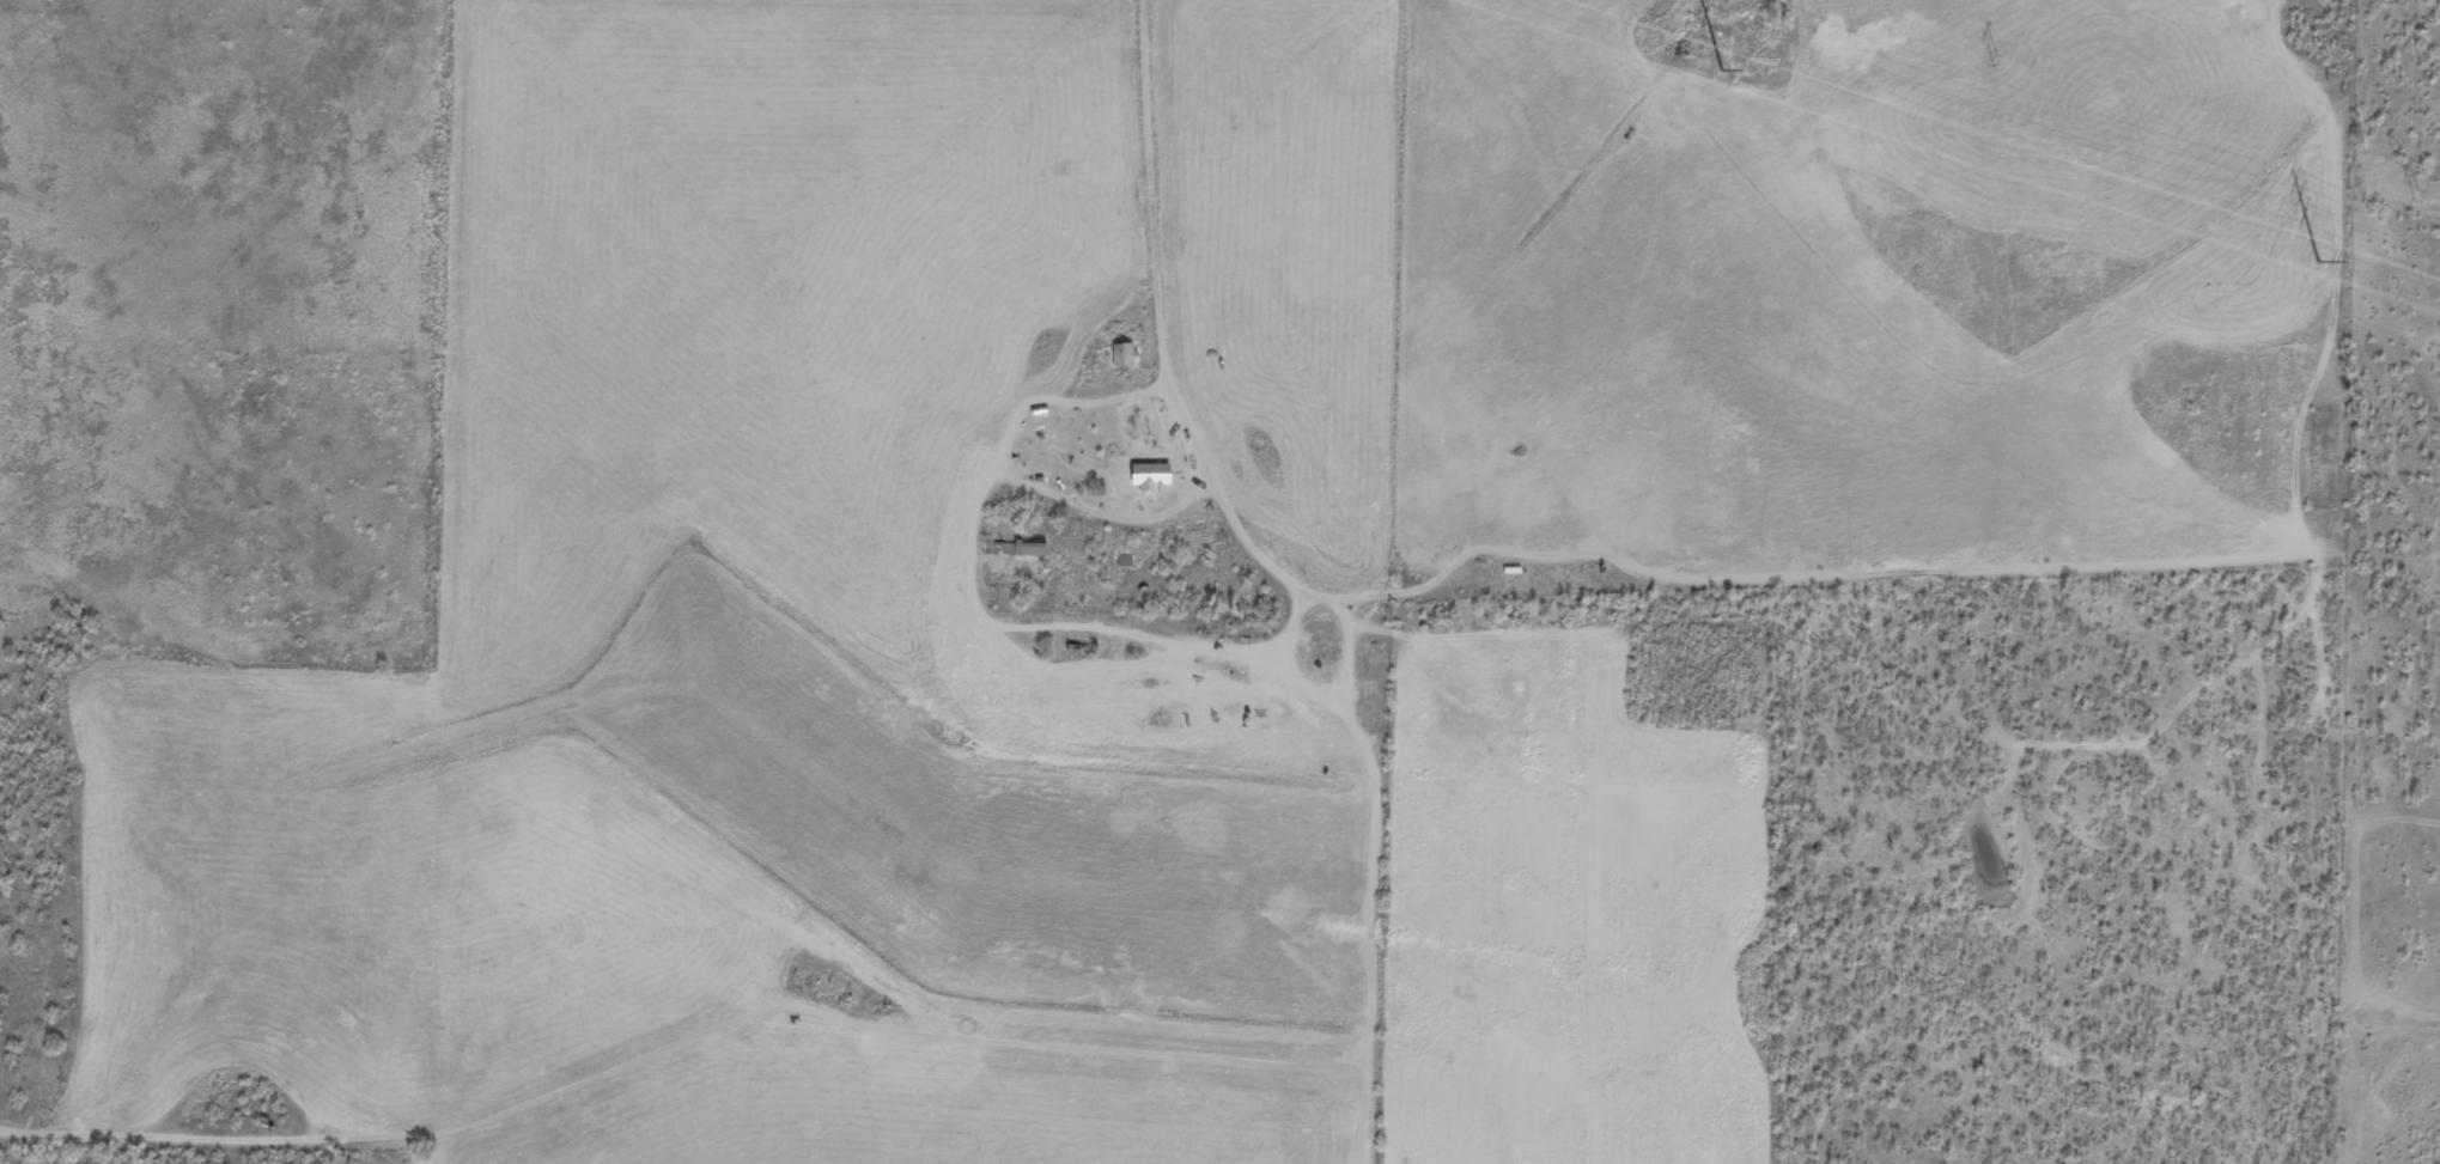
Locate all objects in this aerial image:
power tower: (1992, 59)
power tower: (1721, 68)
power tower: (2416, 194)
power tower: (2318, 257)
building: (1120, 356)
building: (1148, 479)
building: (1014, 550)
road: (939, 927)

